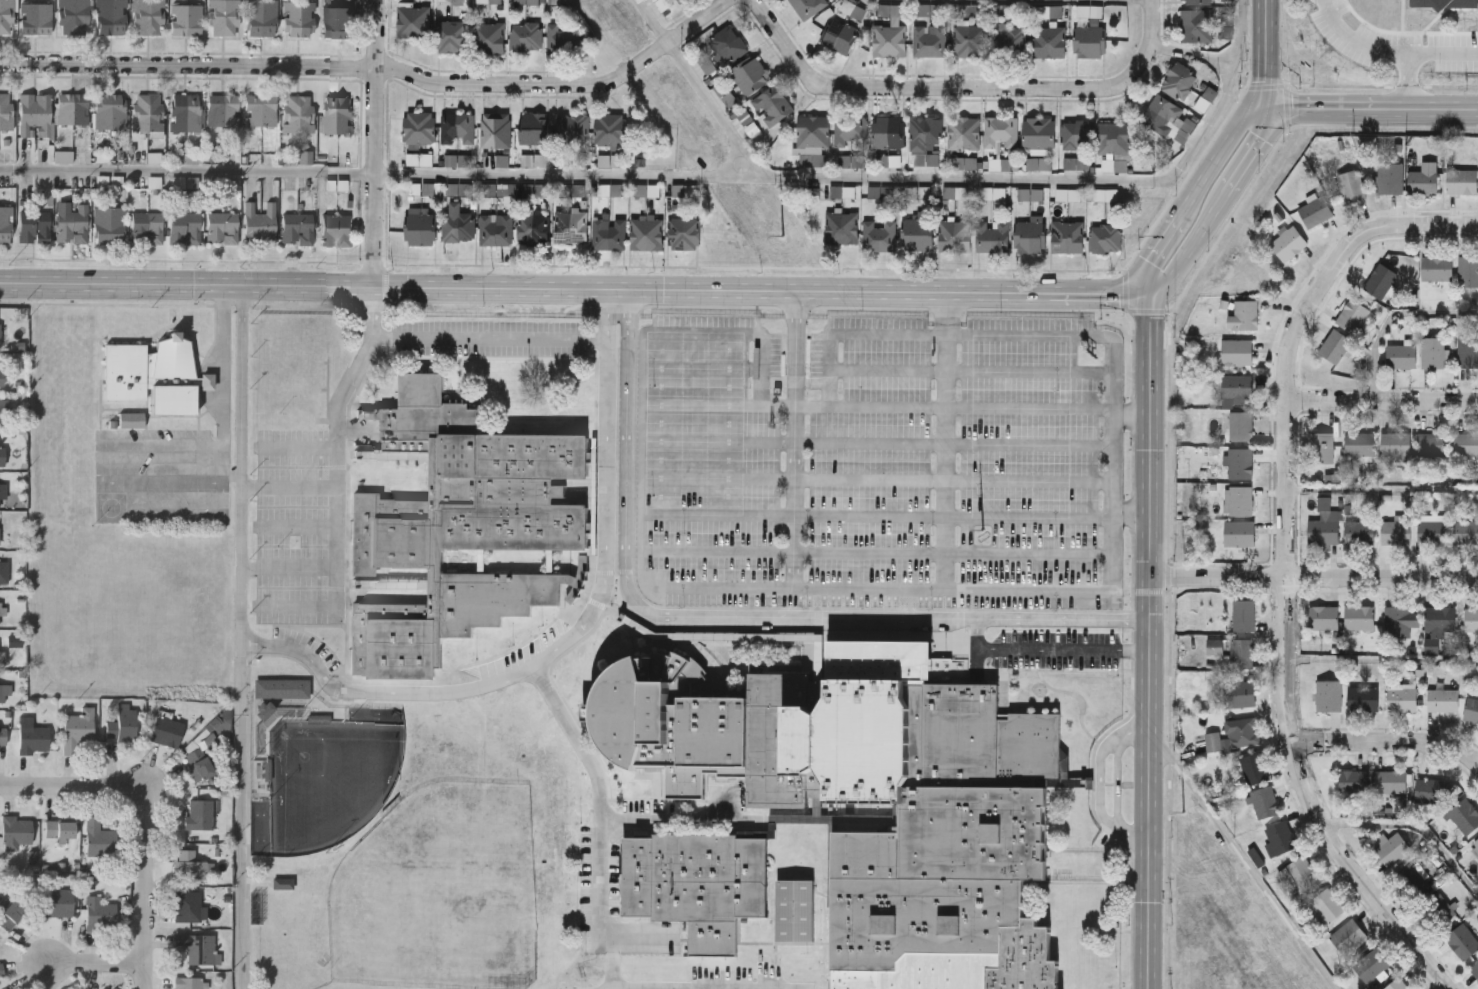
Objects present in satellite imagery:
building: (1228, 0)
building: (496, 1)
building: (526, 1)
building: (679, 1)
building: (555, 2)
building: (1197, 2)
building: (663, 4)
building: (1444, 6)
building: (807, 7)
building: (851, 8)
building: (931, 10)
building: (970, 10)
building: (1004, 10)
building: (1047, 11)
building: (1091, 13)
building: (73, 17)
building: (7, 18)
building: (111, 18)
building: (148, 19)
building: (224, 19)
building: (262, 20)
building: (36, 21)
building: (300, 21)
building: (186, 22)
building: (414, 23)
road: (654, 23)
building: (338, 24)
building: (1227, 26)
building: (1197, 27)
building: (453, 37)
building: (840, 37)
building: (526, 38)
building: (490, 39)
building: (564, 39)
road: (1357, 39)
building: (930, 41)
building: (970, 41)
building: (890, 42)
building: (1010, 42)
building: (1050, 43)
building: (1090, 43)
building: (728, 45)
road: (1149, 46)
road: (1267, 55)
road: (1417, 56)
building: (707, 65)
road: (381, 69)
building: (751, 75)
building: (1180, 82)
road: (916, 87)
road: (716, 106)
building: (773, 106)
road: (1372, 106)
building: (73, 111)
traffic signals: (1268, 111)
building: (224, 112)
building: (6, 113)
building: (261, 113)
building: (111, 114)
building: (149, 114)
building: (186, 114)
building: (301, 116)
building: (338, 116)
building: (35, 117)
building: (1169, 120)
building: (574, 127)
building: (420, 129)
building: (458, 129)
building: (535, 129)
building: (496, 131)
building: (611, 131)
building: (813, 132)
building: (851, 132)
building: (1002, 132)
building: (890, 133)
building: (925, 133)
building: (964, 133)
building: (1040, 133)
building: (1077, 136)
building: (1116, 138)
road: (377, 143)
building: (64, 157)
building: (306, 158)
building: (186, 159)
building: (458, 160)
building: (534, 160)
building: (573, 160)
building: (611, 161)
building: (851, 161)
building: (889, 161)
building: (965, 163)
building: (1040, 163)
building: (1077, 163)
building: (1002, 164)
road: (188, 170)
building: (1387, 175)
road: (878, 177)
building: (1461, 179)
building: (1421, 180)
building: (1349, 184)
building: (460, 189)
building: (500, 189)
building: (534, 190)
building: (578, 190)
building: (610, 190)
building: (647, 190)
building: (685, 190)
road: (1195, 191)
building: (846, 192)
building: (881, 192)
building: (956, 192)
building: (925, 193)
building: (994, 193)
building: (1031, 194)
building: (1069, 194)
road: (1218, 209)
building: (1314, 209)
building: (460, 223)
building: (6, 227)
building: (260, 227)
building: (422, 227)
building: (73, 228)
building: (109, 228)
building: (572, 228)
building: (35, 229)
building: (842, 229)
building: (147, 230)
building: (185, 230)
building: (222, 230)
building: (298, 230)
building: (496, 230)
building: (534, 230)
building: (337, 232)
building: (647, 234)
building: (685, 234)
building: (609, 235)
building: (918, 235)
building: (955, 236)
building: (1031, 236)
building: (880, 237)
building: (993, 238)
building: (1068, 238)
power tower: (768, 240)
building: (1106, 240)
building: (1287, 241)
building: (1438, 266)
building: (1467, 268)
building: (1379, 278)
road: (575, 288)
traffic signals: (1151, 293)
building: (1242, 312)
building: (1351, 312)
building: (0, 314)
road: (1392, 318)
road: (853, 332)
road: (489, 338)
road: (1296, 338)
building: (1333, 343)
building: (1236, 349)
building: (1432, 349)
building: (1467, 349)
building: (1400, 354)
road: (888, 370)
road: (1030, 370)
building: (151, 374)
building: (1, 378)
building: (1237, 386)
road: (1383, 401)
road: (877, 407)
building: (3, 412)
road: (1131, 413)
building: (132, 421)
building: (1239, 423)
road: (337, 424)
road: (795, 439)
road: (946, 440)
building: (1358, 441)
building: (1395, 441)
building: (1431, 441)
building: (1465, 441)
road: (870, 442)
road: (1030, 443)
road: (122, 445)
building: (1319, 445)
road: (298, 446)
building: (1, 455)
building: (1239, 460)
parking lot: (879, 462)
road: (871, 478)
road: (1030, 479)
road: (290, 488)
road: (1383, 488)
building: (2, 490)
building: (1238, 498)
road: (793, 514)
road: (1030, 517)
building: (1323, 523)
parking lot: (293, 527)
building: (459, 529)
building: (1359, 529)
building: (1395, 530)
building: (1431, 530)
building: (1465, 530)
building: (1238, 531)
building: (0, 536)
power tower: (979, 537)
road: (1030, 553)
building: (584, 559)
road: (289, 568)
building: (3, 572)
road: (1314, 578)
road: (868, 588)
road: (336, 591)
building: (1, 608)
building: (1242, 612)
building: (1322, 614)
building: (1358, 615)
building: (1439, 615)
building: (1471, 616)
road: (732, 617)
building: (1396, 618)
road: (243, 636)
road: (570, 637)
road: (1150, 640)
building: (15, 642)
building: (1214, 644)
road: (1021, 648)
road: (1121, 649)
building: (1240, 650)
road: (1383, 658)
building: (3, 688)
building: (283, 689)
building: (1238, 690)
building: (1327, 692)
building: (1401, 695)
building: (1362, 696)
building: (1442, 697)
building: (1471, 708)
building: (265, 711)
building: (121, 723)
building: (76, 729)
building: (1240, 729)
building: (165, 730)
building: (2, 735)
building: (33, 738)
building: (261, 739)
building: (1211, 739)
road: (1390, 743)
building: (198, 762)
building: (1253, 766)
building: (1390, 779)
building: (1352, 780)
road: (1099, 782)
road: (1118, 784)
road: (76, 787)
building: (1431, 789)
building: (1262, 800)
road: (1314, 803)
building: (1401, 804)
building: (198, 813)
building: (1464, 814)
road: (599, 818)
building: (974, 820)
road: (681, 822)
road: (1415, 822)
power tower: (1182, 823)
building: (58, 828)
building: (772, 829)
building: (16, 830)
building: (1278, 836)
building: (98, 838)
building: (1392, 847)
building: (1474, 847)
road: (1246, 862)
building: (188, 864)
building: (1296, 871)
building: (1412, 876)
building: (283, 884)
building: (699, 885)
road: (149, 893)
building: (57, 901)
building: (1326, 903)
building: (186, 906)
building: (1436, 907)
building: (796, 910)
building: (11, 912)
building: (99, 913)
building: (1347, 934)
building: (1461, 939)
building: (195, 946)
building: (1370, 963)
road: (99, 965)
building: (1474, 968)
building: (1, 969)
building: (187, 982)
building: (1395, 983)
road: (244, 985)
building: (7, 988)
road: (728, 988)

